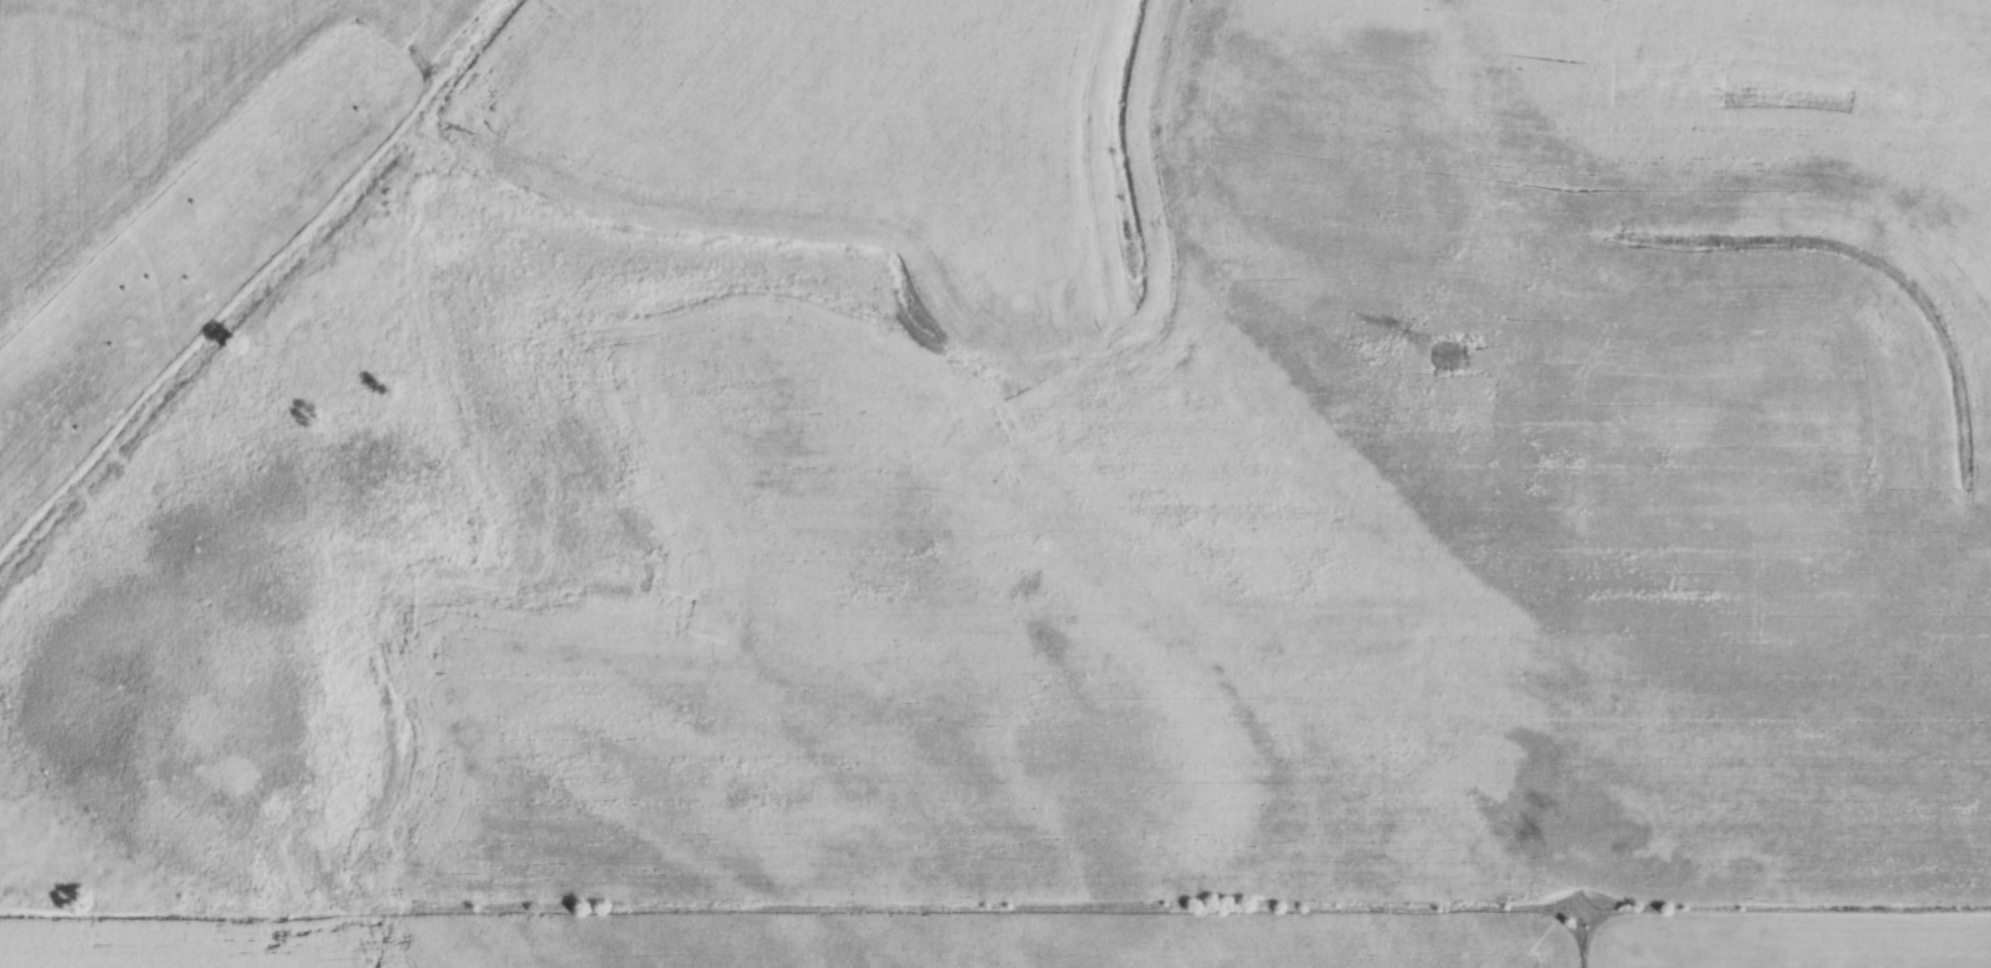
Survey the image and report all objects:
power tower: (1453, 363)
crop: (995, 484)

